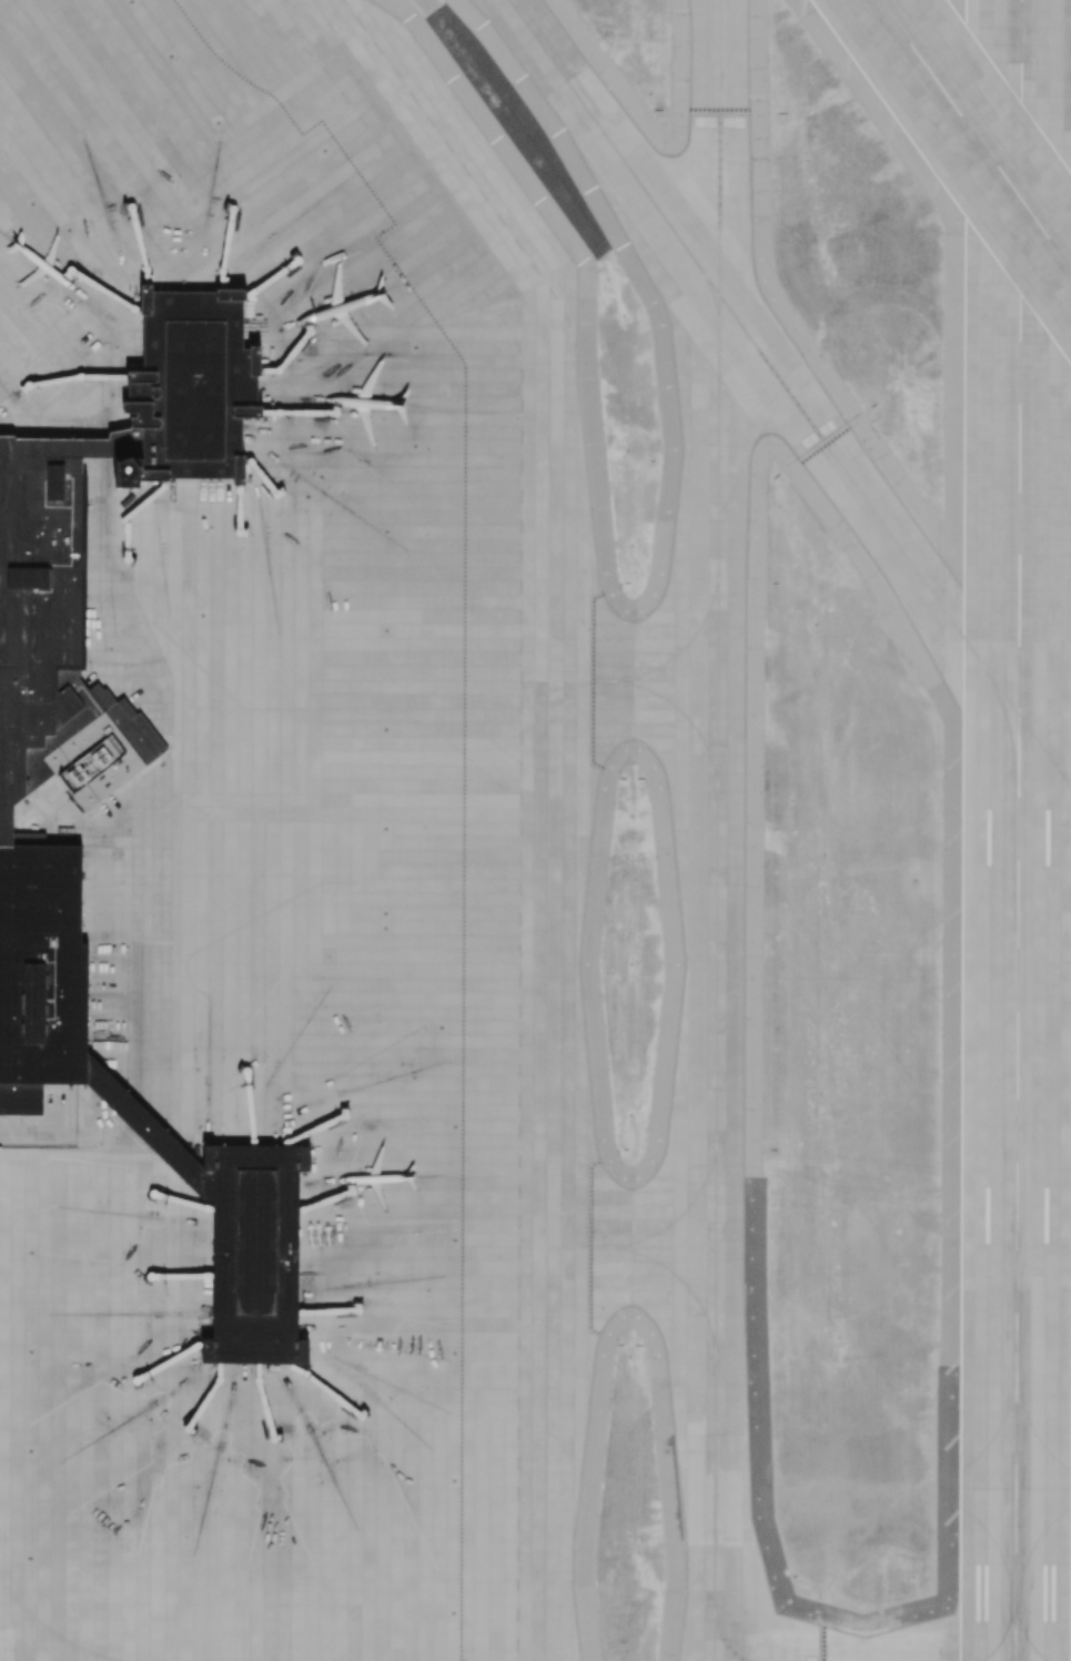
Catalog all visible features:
airport runway: (974, 134)
road: (129, 232)
road: (226, 240)
road: (272, 272)
road: (109, 285)
airport taxiway: (713, 295)
road: (292, 351)
road: (72, 375)
airport terminal: (189, 383)
building: (189, 383)
airport taxiway: (791, 392)
road: (297, 409)
building: (93, 445)
building: (125, 467)
road: (263, 477)
road: (238, 508)
road: (124, 515)
airport taxiway: (582, 680)
airport taxiway: (678, 708)
airport terminal: (48, 762)
building: (48, 762)
airport taxiway: (547, 782)
airport: (535, 830)
airport taxiway: (719, 830)
airport runway: (1021, 830)
airport apron: (304, 855)
road: (243, 1103)
road: (54, 1108)
building: (142, 1123)
road: (314, 1125)
road: (3, 1126)
road: (37, 1136)
road: (176, 1198)
road: (332, 1198)
airport taxiway: (49, 1204)
airport taxiway: (655, 1233)
airport terminal: (253, 1249)
building: (253, 1249)
road: (175, 1275)
airport taxiway: (687, 1286)
road: (339, 1302)
road: (168, 1365)
road: (323, 1383)
road: (274, 1400)
road: (206, 1404)
airport taxiway: (53, 1632)

